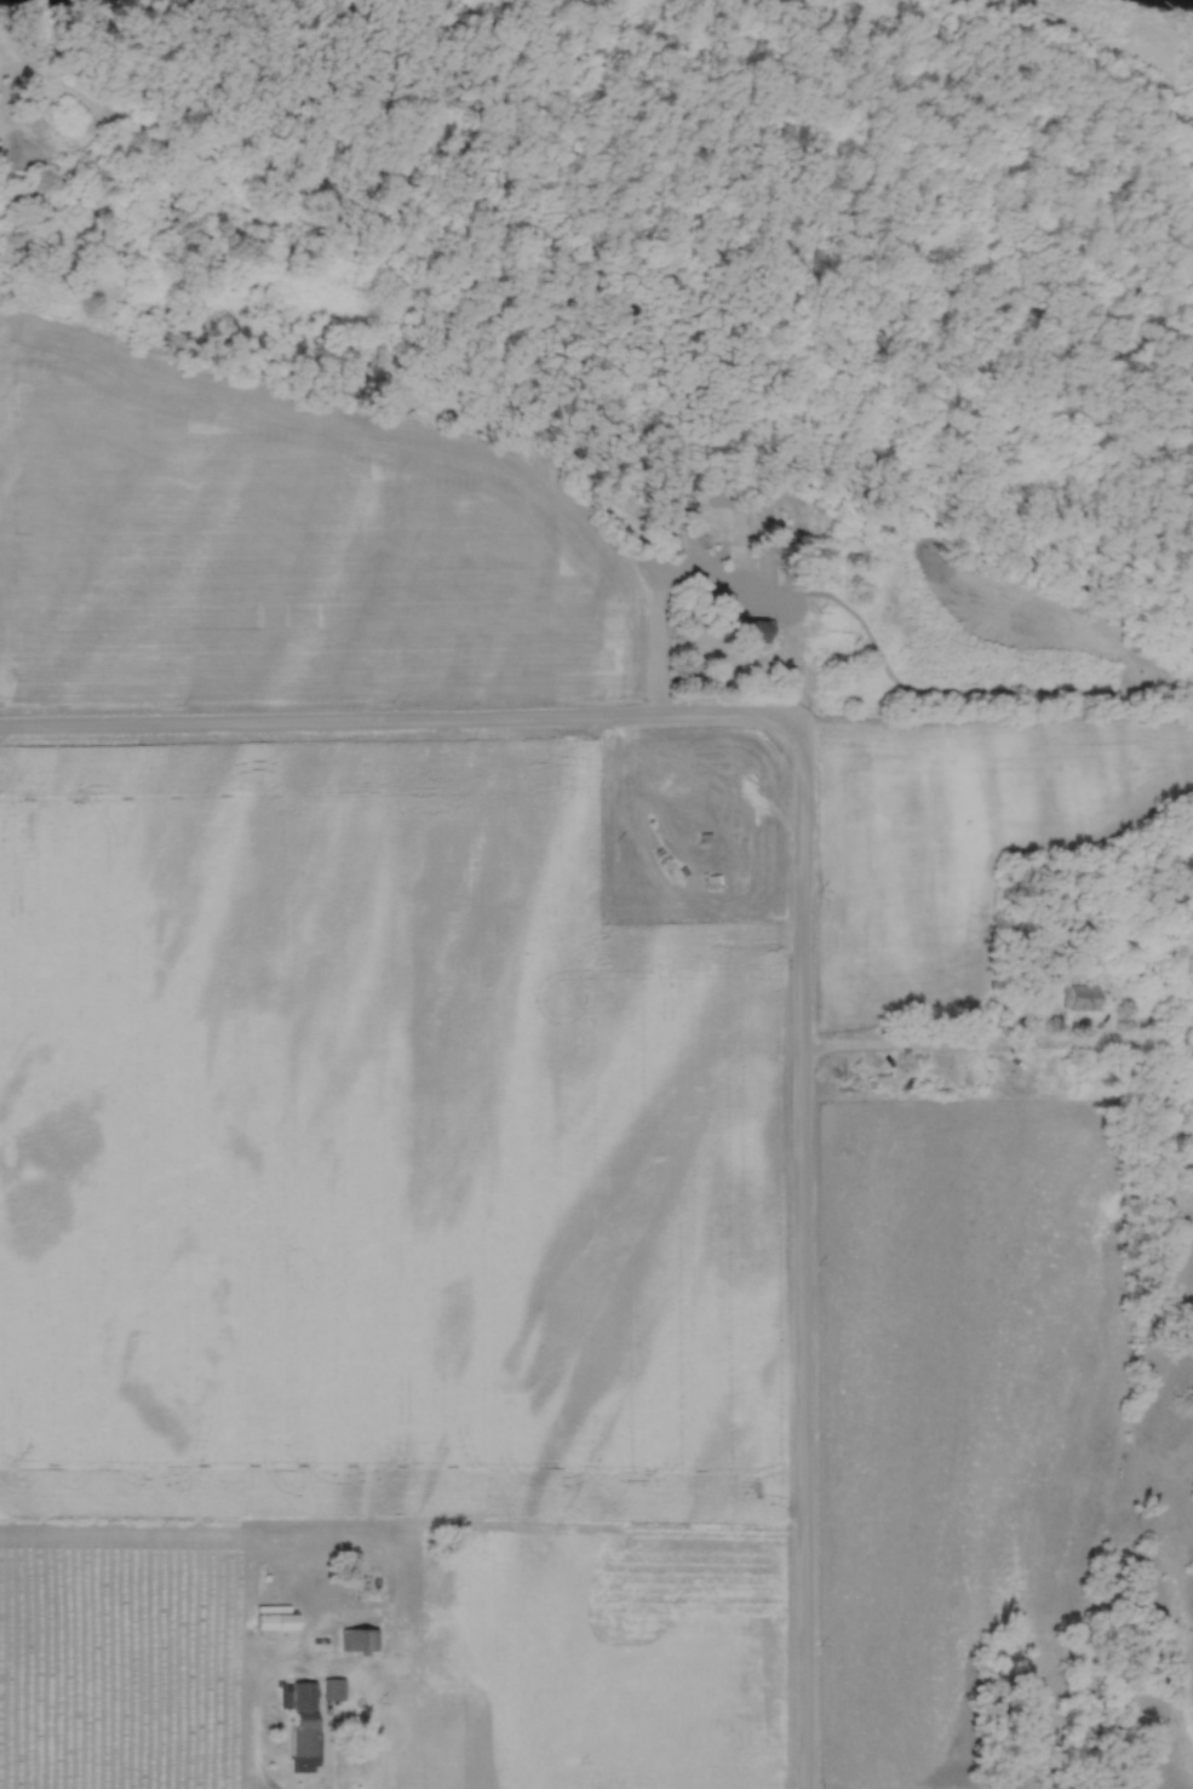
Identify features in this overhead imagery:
building: (723, 523)
building: (795, 580)
building: (755, 633)
road: (788, 642)
road: (371, 722)
building: (713, 884)
building: (1079, 1000)
building: (1181, 1038)
road: (936, 1050)
road: (801, 1235)
building: (276, 1622)
building: (361, 1641)
building: (333, 1690)
building: (303, 1727)

